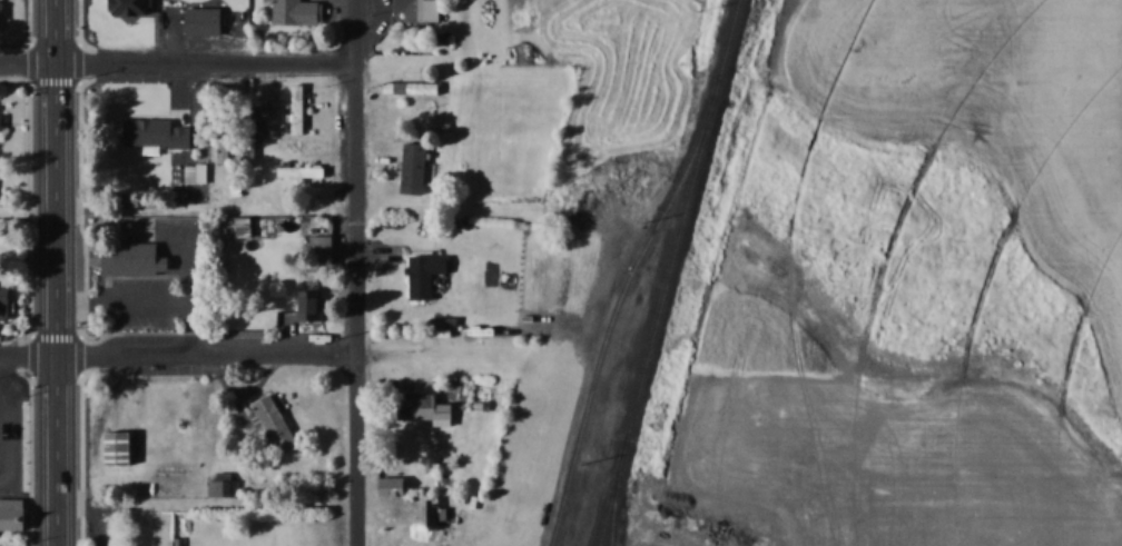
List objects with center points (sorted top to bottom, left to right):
building: (416, 9)
building: (301, 11)
building: (1, 13)
building: (207, 19)
road: (179, 63)
building: (2, 119)
building: (164, 155)
building: (303, 169)
building: (246, 226)
building: (324, 252)
building: (132, 259)
road: (57, 272)
road: (358, 272)
building: (427, 272)
railway: (669, 272)
crop: (927, 280)
building: (308, 304)
railway: (612, 318)
road: (178, 349)
building: (427, 407)
building: (277, 423)
building: (122, 447)
building: (14, 510)
railway: (612, 512)
building: (430, 513)

